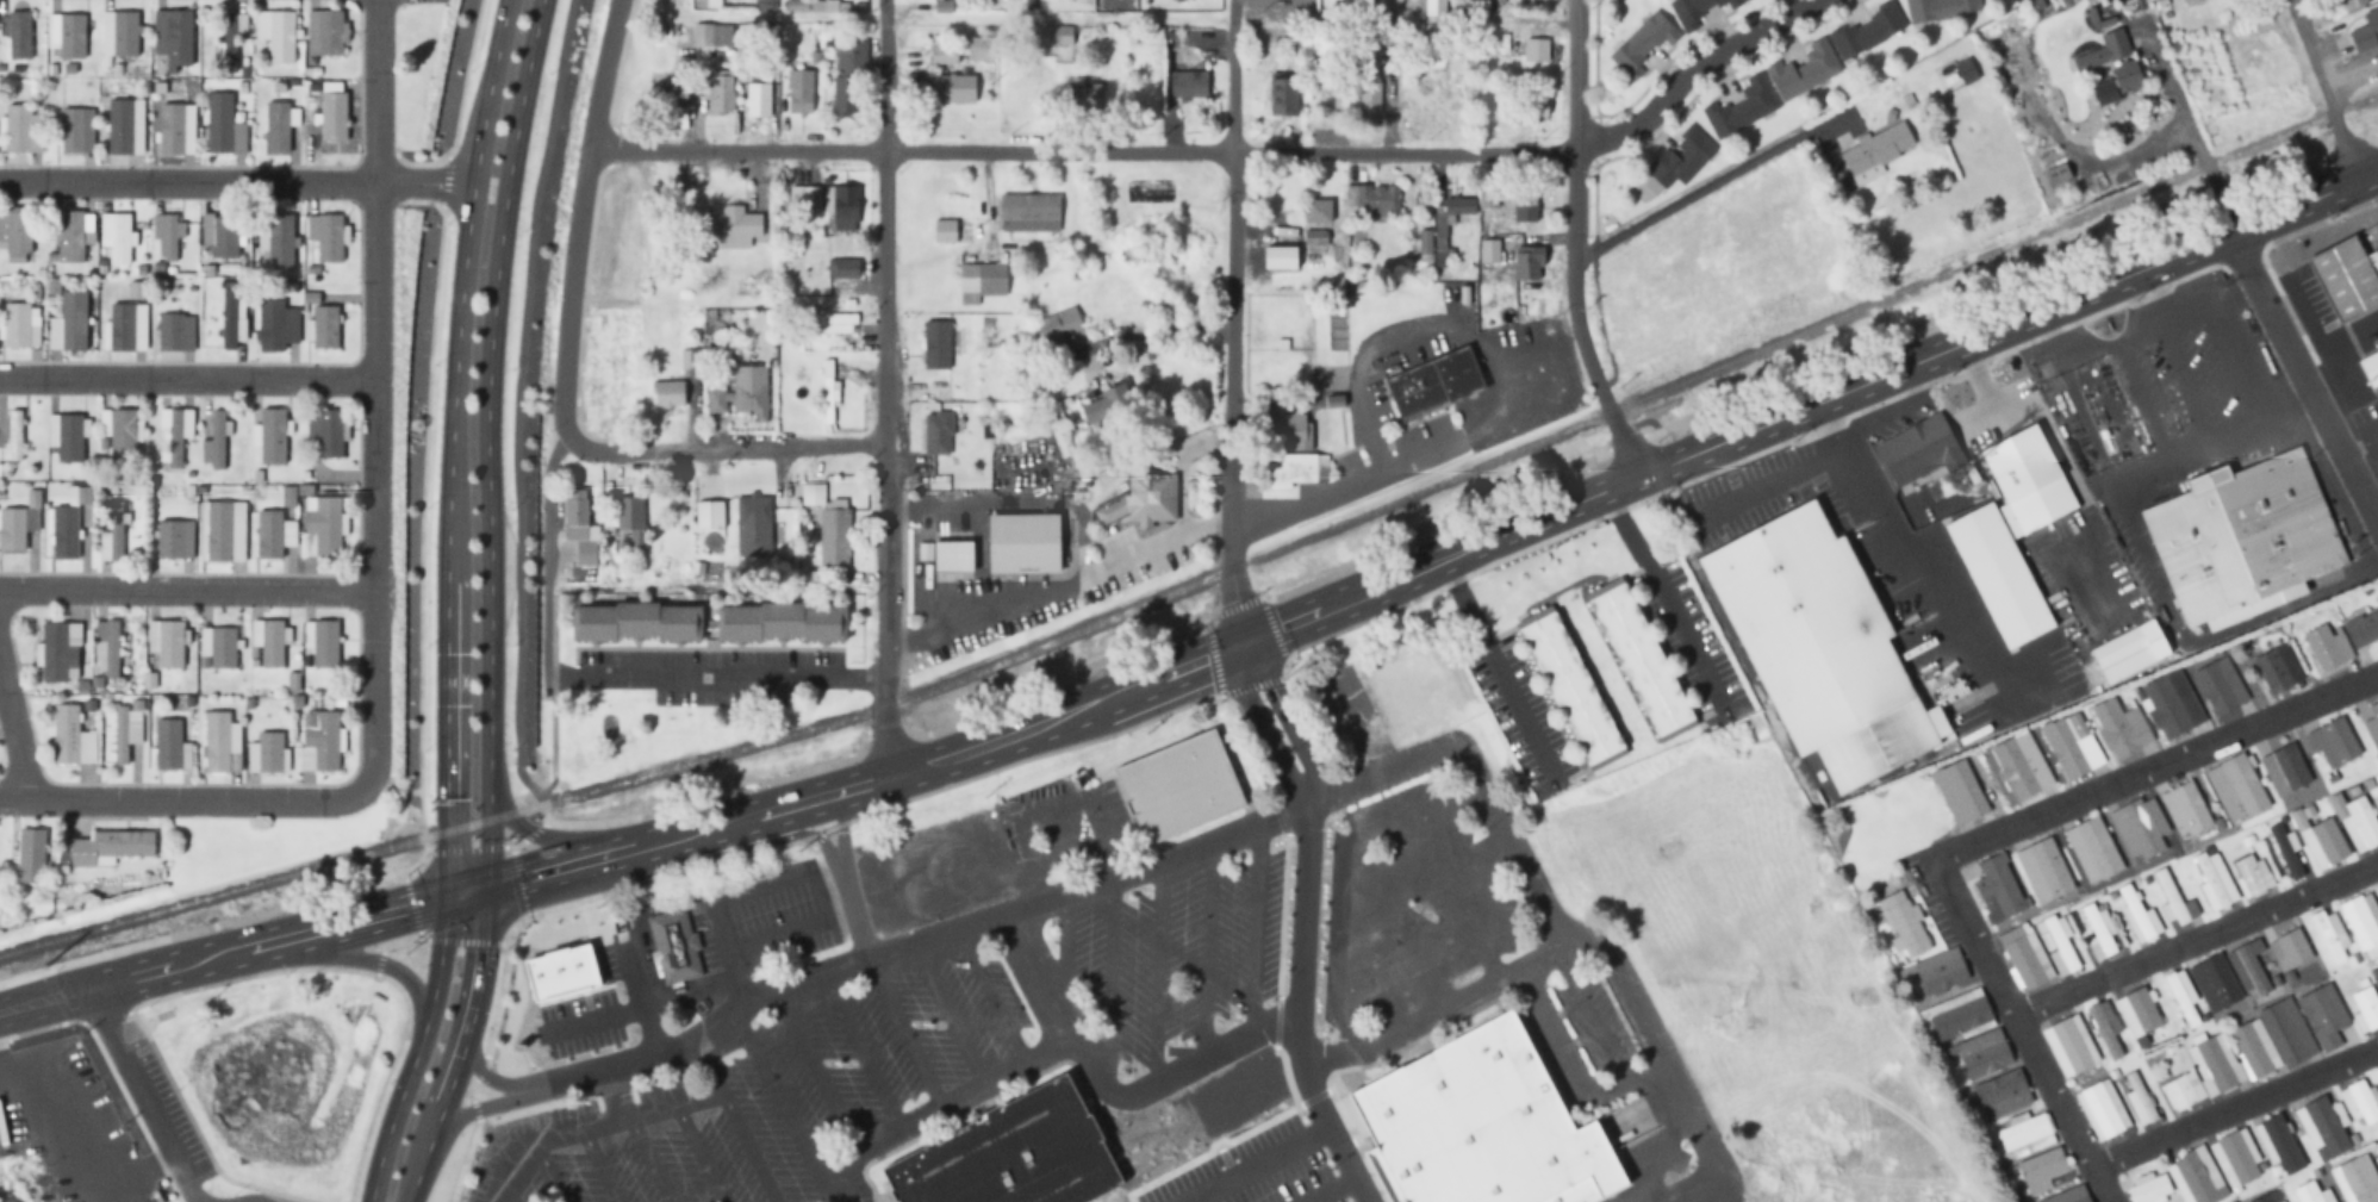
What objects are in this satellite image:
building: (2017, 0)
building: (2187, 1)
building: (2349, 4)
building: (766, 5)
building: (1434, 6)
building: (1938, 10)
building: (1697, 11)
building: (1868, 30)
building: (2365, 30)
building: (330, 31)
building: (19, 35)
building: (125, 35)
building: (1063, 35)
building: (71, 36)
building: (281, 37)
building: (179, 38)
building: (229, 42)
building: (1642, 43)
building: (982, 49)
building: (1536, 49)
building: (2108, 49)
building: (944, 54)
road: (1689, 68)
building: (2015, 68)
building: (1804, 69)
building: (1965, 71)
building: (847, 74)
building: (2127, 76)
building: (1188, 85)
building: (953, 88)
road: (2322, 91)
building: (799, 92)
road: (2172, 92)
building: (1368, 93)
building: (722, 94)
building: (662, 95)
building: (1283, 96)
building: (759, 99)
building: (1537, 100)
building: (2066, 104)
building: (1742, 107)
building: (334, 117)
building: (219, 122)
building: (18, 127)
building: (120, 127)
building: (278, 127)
building: (170, 129)
building: (73, 131)
building: (1878, 149)
road: (1083, 150)
building: (1681, 157)
building: (2056, 175)
road: (237, 182)
building: (797, 193)
building: (1489, 194)
road: (2212, 194)
building: (1372, 199)
building: (1525, 205)
building: (845, 206)
building: (1314, 210)
building: (1028, 211)
road: (580, 212)
building: (733, 222)
building: (20, 230)
building: (945, 230)
building: (1442, 231)
building: (70, 237)
building: (225, 237)
building: (1314, 237)
building: (120, 238)
building: (167, 238)
building: (329, 238)
building: (280, 242)
road: (1574, 245)
building: (1539, 257)
building: (1526, 262)
building: (843, 268)
building: (2346, 275)
building: (982, 279)
building: (137, 289)
road: (2304, 306)
road: (2183, 311)
building: (228, 318)
building: (73, 319)
building: (830, 323)
road: (1234, 323)
building: (17, 325)
building: (122, 326)
building: (272, 326)
building: (325, 326)
building: (1336, 326)
building: (1065, 331)
building: (170, 332)
road: (2334, 335)
road: (2110, 341)
building: (935, 345)
building: (689, 357)
building: (2370, 365)
road: (188, 379)
road: (2303, 380)
building: (1448, 385)
road: (888, 387)
road: (490, 388)
building: (827, 391)
building: (667, 392)
building: (751, 398)
road: (2141, 398)
road: (2031, 399)
road: (376, 400)
building: (1090, 411)
road: (1977, 418)
road: (518, 421)
building: (329, 434)
building: (935, 434)
building: (123, 435)
building: (272, 435)
building: (14, 436)
building: (69, 437)
building: (176, 437)
building: (218, 438)
road: (2359, 444)
road: (721, 450)
building: (1916, 450)
road: (1842, 454)
road: (2156, 461)
building: (1309, 467)
building: (2027, 480)
road: (1764, 485)
building: (813, 493)
building: (1141, 502)
road: (2373, 507)
building: (628, 512)
building: (709, 512)
building: (575, 516)
building: (325, 524)
building: (753, 524)
building: (12, 530)
building: (218, 530)
building: (116, 531)
building: (64, 533)
building: (269, 533)
building: (2241, 534)
building: (834, 536)
building: (175, 538)
building: (1023, 542)
building: (952, 555)
road: (2092, 563)
road: (1424, 569)
railway: (1204, 574)
road: (188, 590)
road: (1946, 597)
road: (447, 604)
building: (782, 621)
building: (635, 622)
building: (2363, 629)
building: (272, 642)
building: (324, 642)
building: (169, 643)
building: (1820, 646)
building: (223, 647)
building: (2327, 647)
building: (112, 649)
building: (57, 652)
building: (2128, 652)
building: (1641, 659)
building: (2278, 668)
building: (1569, 685)
building: (2220, 686)
building: (2171, 705)
building: (2372, 725)
building: (2119, 729)
road: (14, 733)
building: (67, 735)
building: (122, 735)
building: (324, 740)
building: (217, 742)
building: (2332, 743)
building: (167, 745)
building: (2071, 746)
building: (269, 752)
road: (1642, 762)
building: (2017, 766)
road: (2154, 768)
building: (2284, 771)
building: (1177, 785)
building: (2236, 789)
building: (2377, 789)
building: (1961, 793)
road: (179, 799)
building: (2376, 802)
building: (2185, 810)
building: (2357, 822)
building: (2140, 829)
road: (566, 837)
building: (2321, 841)
building: (108, 848)
building: (2093, 851)
building: (2285, 853)
building: (31, 857)
building: (2043, 872)
building: (2252, 877)
building: (2214, 880)
traffic signals: (492, 885)
building: (1998, 886)
traffic signals: (447, 897)
building: (2173, 901)
road: (814, 905)
road: (1301, 911)
road: (1011, 914)
building: (2137, 916)
building: (2363, 923)
building: (1904, 924)
road: (1255, 933)
building: (2099, 933)
building: (2330, 934)
road: (2196, 942)
building: (673, 945)
building: (2059, 946)
road: (728, 952)
road: (223, 954)
road: (1204, 954)
building: (2295, 954)
road: (346, 958)
building: (2022, 959)
power tower: (46, 963)
building: (2248, 969)
building: (1940, 972)
road: (1153, 977)
road: (1106, 978)
road: (1033, 984)
building: (2215, 984)
road: (480, 997)
building: (2181, 997)
road: (992, 998)
building: (2365, 1009)
building: (2137, 1013)
road: (948, 1015)
building: (1959, 1016)
building: (2323, 1019)
road: (1407, 1020)
building: (2105, 1029)
road: (904, 1032)
road: (708, 1033)
road: (2021, 1033)
building: (2286, 1033)
building: (2069, 1046)
building: (2251, 1050)
road: (858, 1051)
building: (1984, 1055)
building: (2211, 1065)
road: (816, 1070)
road: (492, 1078)
building: (1999, 1089)
building: (2183, 1091)
road: (149, 1095)
road: (614, 1096)
road: (782, 1101)
building: (2139, 1101)
building: (2360, 1101)
road: (2233, 1106)
road: (671, 1107)
road: (485, 1109)
building: (2102, 1110)
building: (1481, 1126)
building: (2322, 1129)
road: (1334, 1135)
building: (2024, 1135)
road: (550, 1140)
building: (2278, 1144)
building: (2377, 1145)
road: (748, 1148)
road: (698, 1154)
building: (1011, 1154)
building: (2377, 1158)
road: (645, 1160)
building: (2235, 1160)
road: (1256, 1163)
road: (599, 1166)
building: (2042, 1171)
building: (2196, 1177)
building: (2355, 1178)
road: (552, 1179)
road: (1330, 1189)
building: (2149, 1189)
building: (2311, 1192)
road: (1638, 1194)
building: (2067, 1195)
building: (2268, 1197)
road: (511, 1200)
road: (1190, 1200)

